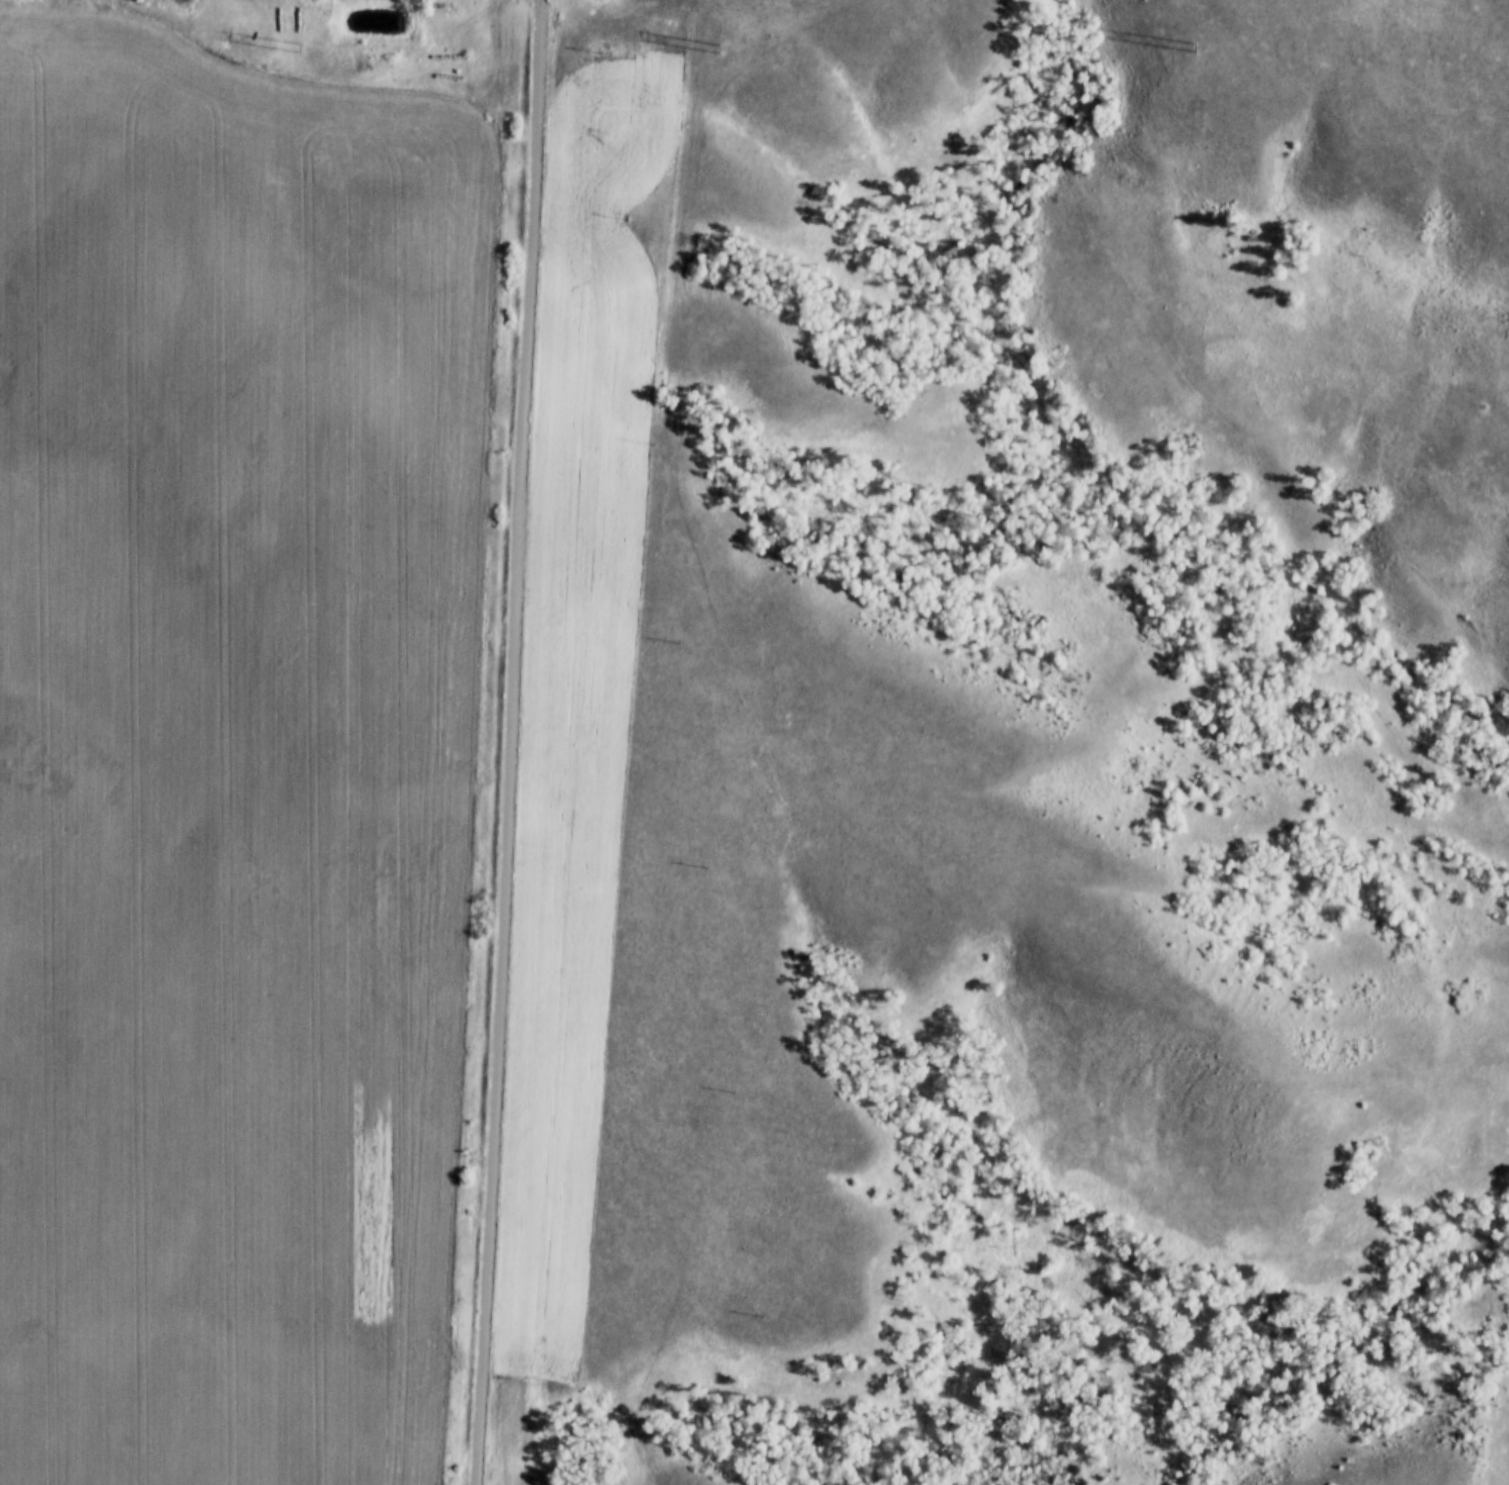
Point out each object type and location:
road: (270, 4)
road: (510, 742)

